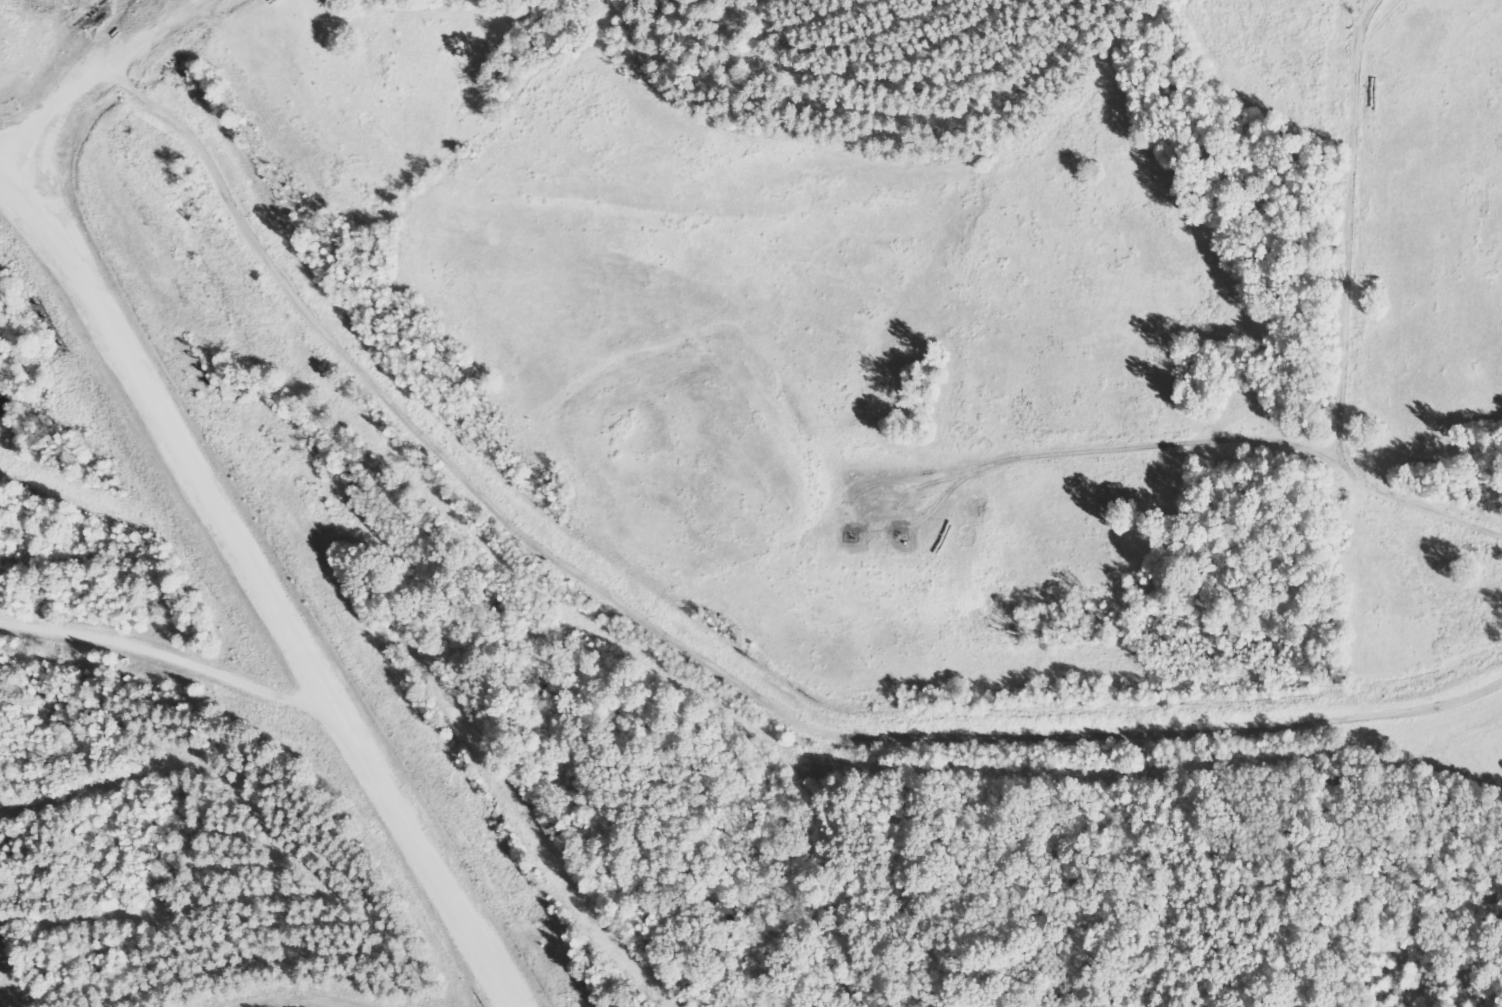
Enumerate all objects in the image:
road: (84, 81)
road: (267, 589)

